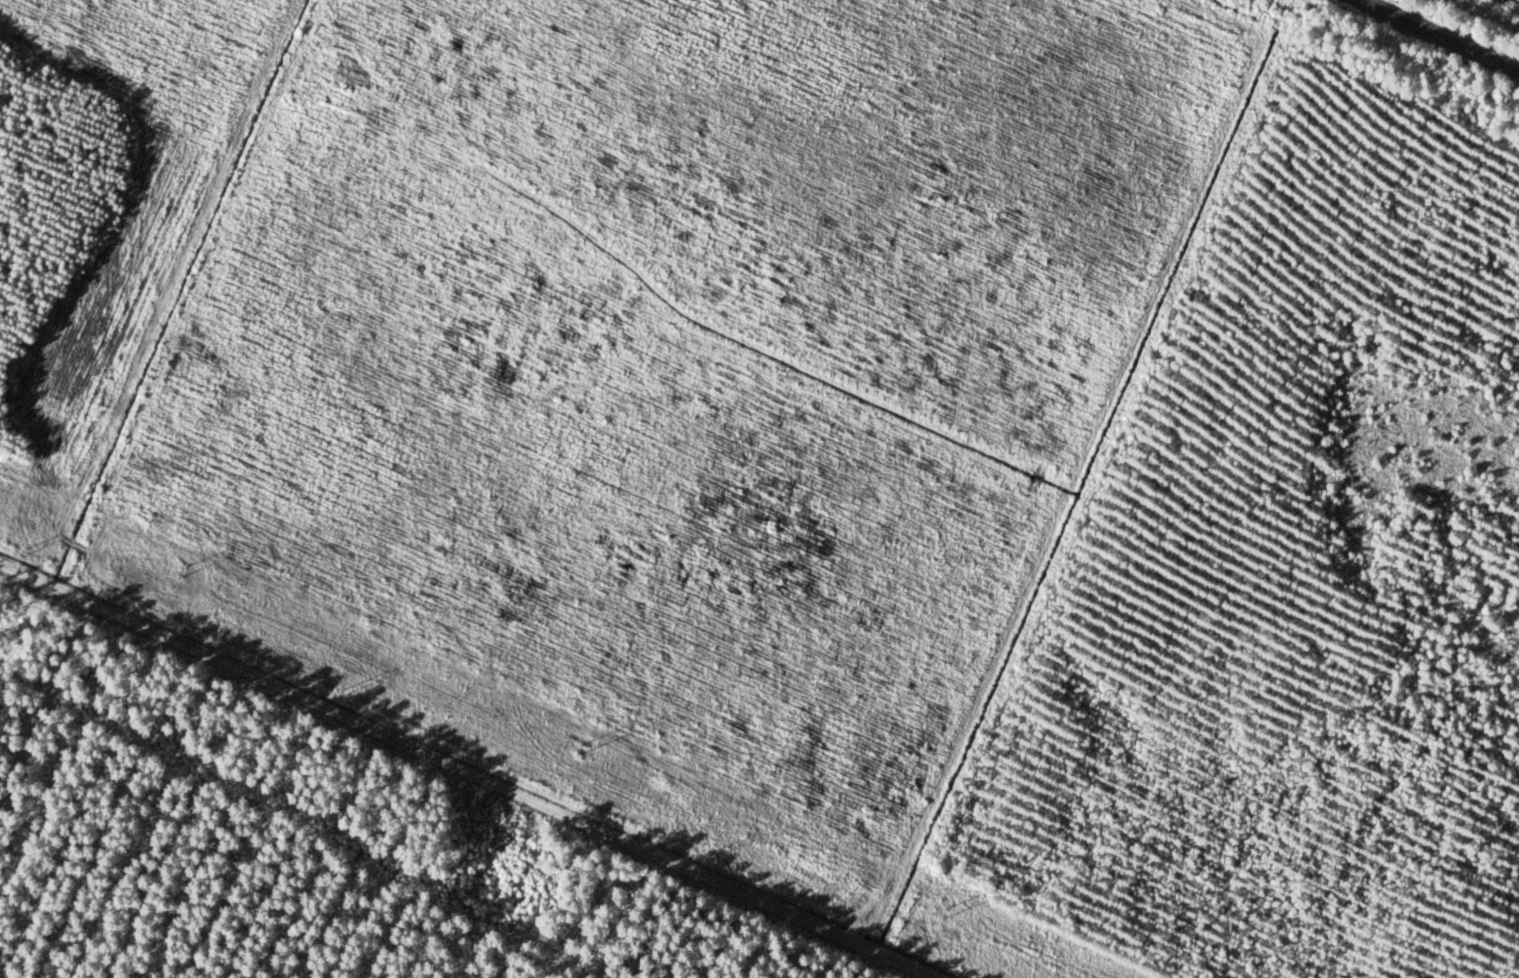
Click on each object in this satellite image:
railway: (1448, 31)
power tower: (27, 556)
power tower: (174, 571)
power tower: (341, 697)
power tower: (574, 750)
power tower: (704, 859)
power tower: (937, 912)

